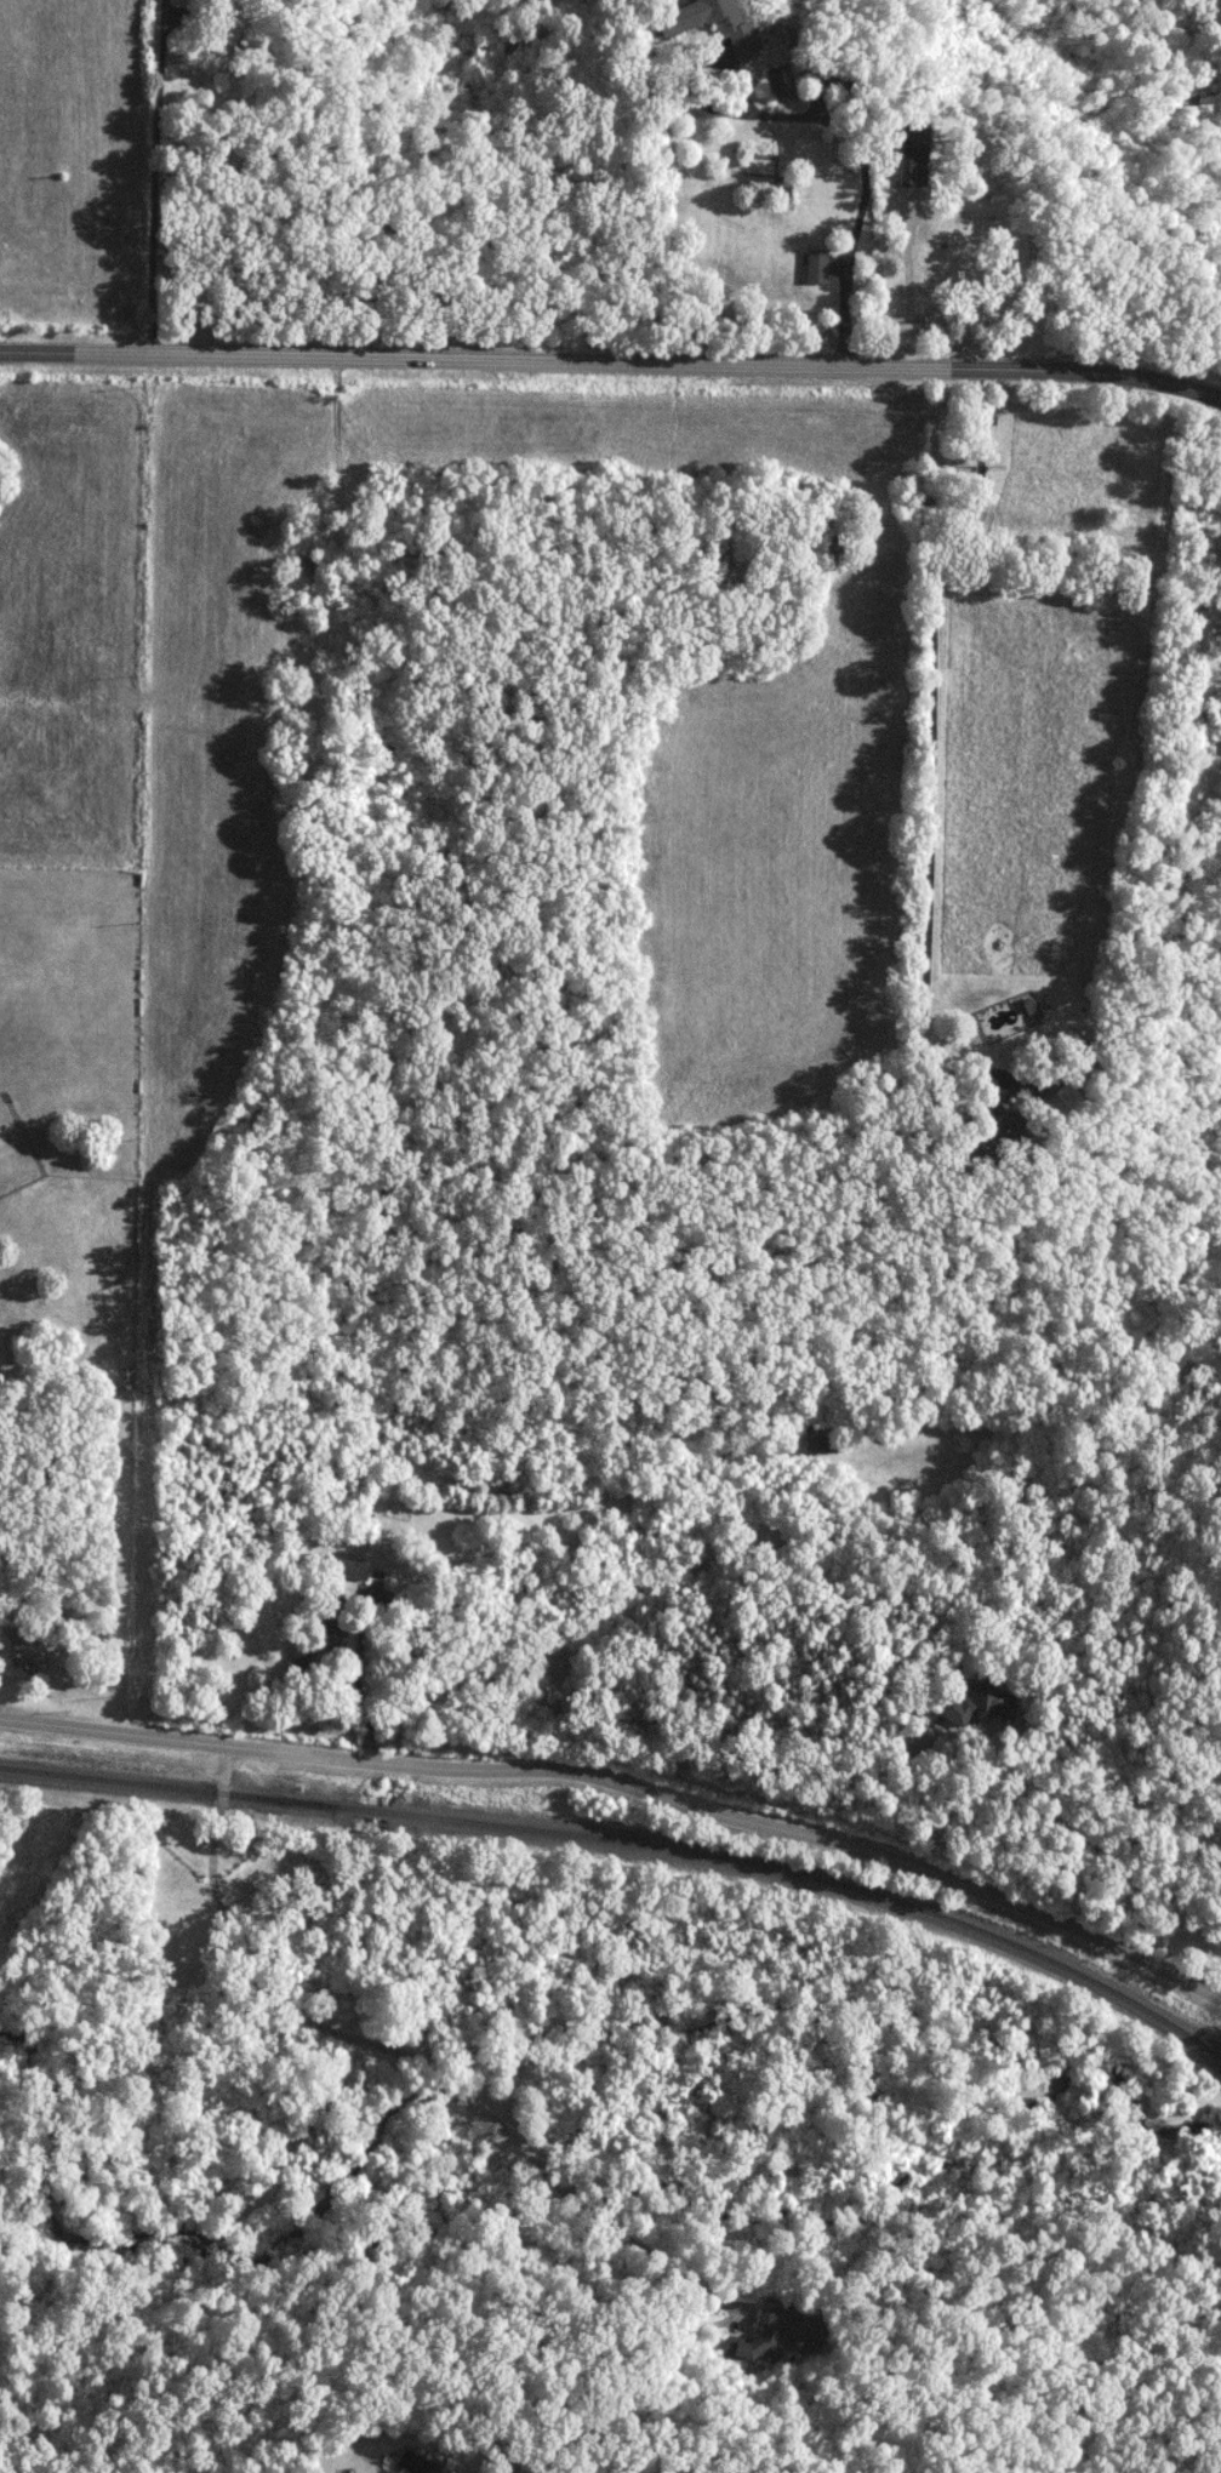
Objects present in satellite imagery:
building: (709, 24)
building: (781, 80)
road: (848, 81)
road: (823, 119)
building: (978, 141)
building: (818, 267)
road: (905, 279)
road: (1095, 286)
road: (611, 361)
road: (1154, 581)
road: (112, 656)
road: (176, 737)
building: (1083, 1050)
building: (1003, 1127)
building: (825, 1439)
building: (346, 1569)
building: (320, 1633)
building: (29, 1651)
building: (980, 1704)
road: (627, 1786)
railway: (633, 1845)
road: (240, 1954)
road: (438, 2074)
road: (583, 2206)
building: (776, 2331)

